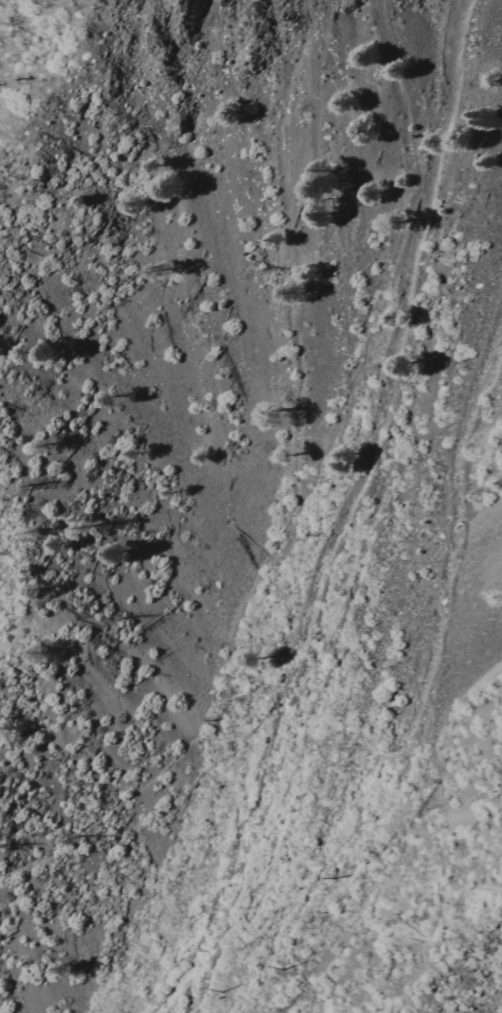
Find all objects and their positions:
road: (323, 758)

